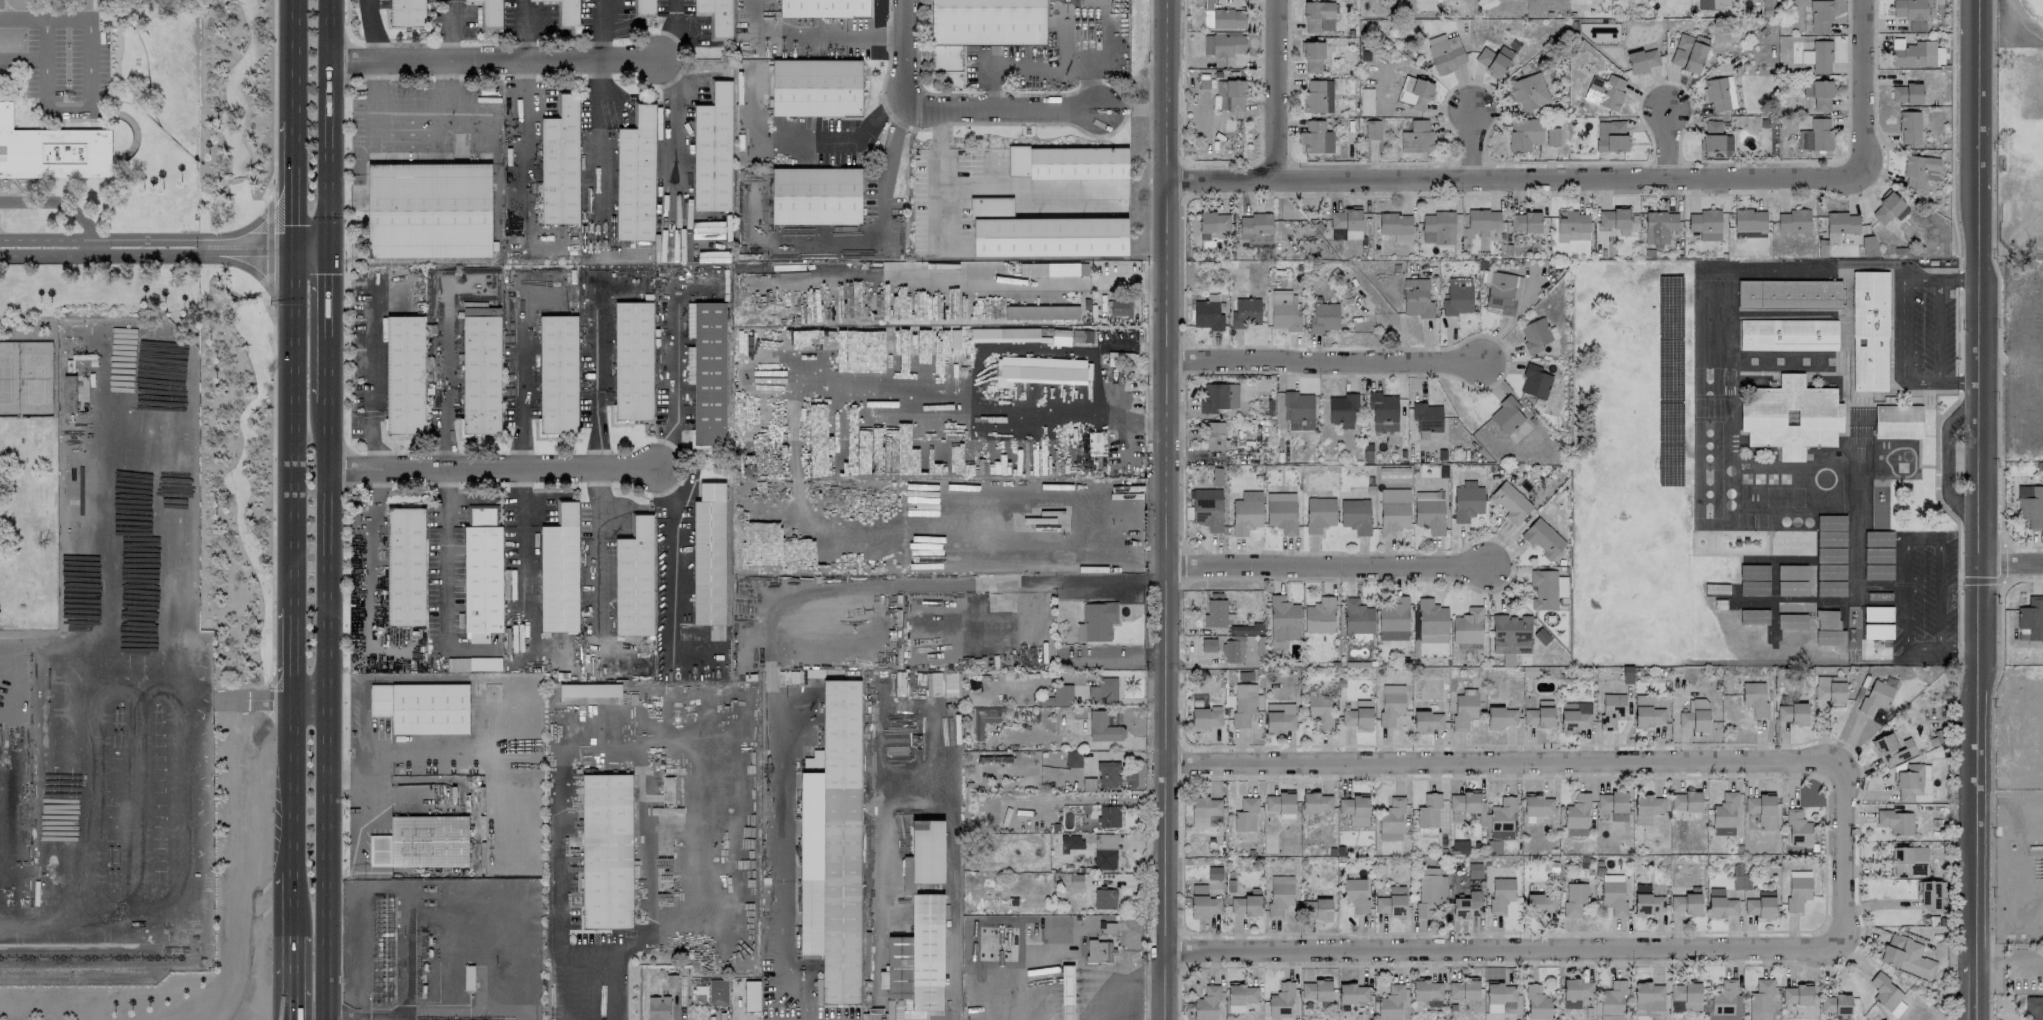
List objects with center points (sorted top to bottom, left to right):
building: (535, 0)
building: (1720, 3)
building: (1768, 3)
building: (1704, 4)
building: (643, 7)
building: (824, 8)
building: (1909, 9)
building: (407, 12)
building: (490, 12)
building: (566, 12)
building: (1820, 15)
building: (1318, 16)
building: (716, 17)
road: (44, 18)
building: (1224, 18)
building: (982, 26)
road: (455, 29)
road: (520, 29)
road: (600, 29)
road: (373, 30)
road: (846, 37)
road: (903, 38)
building: (1224, 44)
building: (1688, 52)
building: (1445, 53)
building: (1915, 53)
building: (1312, 56)
building: (1818, 56)
road: (493, 59)
building: (1493, 59)
building: (1642, 60)
parking lot: (66, 64)
road: (666, 80)
building: (817, 88)
road: (1863, 88)
road: (1277, 89)
building: (1605, 91)
building: (1417, 92)
building: (1529, 92)
building: (1719, 92)
building: (1906, 93)
building: (1230, 94)
building: (1318, 95)
building: (1821, 95)
road: (273, 97)
road: (991, 109)
road: (67, 111)
road: (417, 115)
road: (296, 122)
road: (327, 122)
building: (1910, 127)
building: (1372, 129)
road: (673, 130)
road: (812, 132)
building: (1524, 133)
building: (1611, 135)
building: (1815, 135)
road: (1951, 135)
building: (1552, 136)
building: (1316, 137)
building: (1417, 137)
building: (1715, 137)
road: (1472, 141)
road: (1669, 144)
park: (2018, 150)
building: (52, 151)
building: (713, 151)
building: (562, 162)
building: (1067, 162)
building: (1919, 170)
building: (636, 177)
road: (1515, 177)
road: (939, 178)
road: (1018, 185)
building: (816, 197)
road: (59, 202)
building: (1888, 208)
building: (429, 212)
building: (1613, 218)
building: (1483, 219)
building: (1749, 219)
building: (1793, 220)
building: (1524, 221)
building: (1347, 222)
building: (1212, 223)
building: (1395, 223)
building: (1705, 224)
building: (1572, 225)
building: (1840, 225)
road: (248, 226)
building: (1659, 226)
building: (1256, 227)
building: (1437, 227)
building: (1041, 232)
road: (147, 243)
road: (867, 244)
traffic signals: (295, 245)
road: (311, 245)
traffic signals: (327, 245)
building: (1869, 245)
road: (268, 246)
road: (148, 252)
road: (253, 272)
road: (1958, 279)
road: (1998, 290)
building: (1499, 291)
building: (1788, 293)
building: (1416, 298)
building: (1458, 299)
building: (1118, 307)
building: (1284, 311)
building: (1041, 312)
building: (1245, 312)
building: (1208, 315)
building: (1324, 317)
road: (327, 325)
road: (1901, 328)
road: (1939, 329)
road: (1958, 329)
building: (1869, 330)
parking lot: (1923, 330)
building: (1536, 334)
building: (1788, 334)
building: (1081, 336)
building: (1061, 337)
building: (941, 341)
road: (1448, 346)
building: (632, 360)
road: (1325, 360)
building: (689, 364)
building: (1041, 370)
building: (405, 374)
building: (708, 374)
building: (558, 375)
road: (445, 376)
building: (480, 376)
road: (598, 376)
road: (676, 376)
road: (369, 377)
road: (521, 377)
park: (25, 378)
road: (1101, 380)
road: (1959, 380)
building: (1535, 381)
road: (745, 383)
building: (1218, 396)
building: (1342, 409)
building: (1298, 410)
building: (1383, 411)
building: (1506, 415)
building: (1427, 416)
building: (1790, 416)
building: (1898, 421)
road: (293, 424)
building: (1214, 434)
building: (821, 443)
building: (764, 449)
road: (1947, 455)
road: (493, 466)
building: (918, 466)
park: (28, 472)
building: (1216, 476)
park: (1638, 476)
road: (273, 481)
road: (1936, 484)
building: (1467, 501)
building: (1510, 502)
building: (2031, 505)
building: (1037, 508)
building: (1207, 508)
road: (1170, 509)
road: (968, 510)
building: (1393, 510)
road: (1975, 510)
building: (1281, 511)
building: (1246, 512)
building: (1319, 513)
building: (1355, 515)
building: (1831, 530)
road: (1921, 536)
building: (773, 537)
building: (1543, 538)
road: (447, 554)
building: (708, 554)
building: (1831, 555)
building: (1878, 555)
road: (527, 562)
road: (1182, 563)
road: (2009, 563)
road: (1330, 565)
building: (405, 566)
building: (482, 569)
building: (560, 569)
building: (1753, 571)
building: (1831, 571)
building: (1791, 572)
road: (370, 574)
building: (633, 578)
road: (672, 579)
road: (1998, 579)
building: (513, 582)
road: (961, 582)
building: (1547, 588)
building: (1753, 588)
building: (1791, 588)
building: (1830, 588)
road: (1938, 592)
road: (1906, 593)
road: (2001, 602)
building: (1217, 613)
building: (1877, 613)
building: (1319, 615)
building: (1753, 616)
building: (1284, 619)
building: (1357, 619)
building: (1393, 619)
building: (2030, 619)
road: (1957, 620)
building: (1096, 621)
building: (1431, 621)
building: (1791, 621)
road: (836, 624)
building: (1467, 626)
road: (104, 628)
building: (1828, 628)
building: (1245, 629)
building: (1877, 631)
building: (1510, 633)
building: (477, 637)
building: (1208, 644)
road: (1956, 648)
road: (52, 649)
road: (1923, 649)
building: (1233, 651)
road: (292, 652)
building: (473, 663)
building: (943, 684)
building: (1829, 688)
building: (590, 690)
building: (1103, 691)
road: (271, 696)
building: (1755, 697)
building: (1875, 697)
building: (1391, 703)
building: (1244, 704)
building: (421, 707)
building: (1464, 708)
building: (1611, 709)
building: (1320, 710)
road: (327, 712)
building: (1646, 712)
building: (1791, 713)
building: (1695, 715)
building: (1538, 716)
building: (1574, 716)
building: (1112, 717)
building: (1205, 717)
building: (1280, 717)
building: (1357, 717)
building: (1501, 717)
building: (983, 720)
building: (1428, 720)
road: (513, 722)
building: (1103, 728)
road: (633, 738)
building: (1892, 748)
road: (434, 753)
building: (1073, 759)
road: (1489, 759)
road: (361, 773)
building: (1108, 774)
building: (1913, 783)
building: (1088, 784)
road: (292, 788)
building: (1685, 801)
building: (1280, 802)
building: (1317, 802)
building: (1463, 804)
building: (1613, 804)
building: (1538, 805)
building: (1355, 806)
building: (1647, 808)
building: (1204, 810)
building: (1762, 810)
building: (1577, 812)
building: (1724, 814)
building: (1245, 815)
building: (1428, 815)
building: (1109, 816)
building: (1391, 819)
building: (1502, 819)
building: (1896, 821)
road: (716, 825)
road: (779, 826)
building: (1798, 828)
road: (1952, 840)
building: (422, 842)
building: (1071, 842)
building: (831, 846)
building: (1459, 846)
building: (1493, 846)
road: (558, 850)
building: (927, 851)
building: (1104, 851)
building: (607, 852)
road: (1843, 852)
building: (1909, 861)
road: (101, 864)
building: (1474, 870)
building: (1214, 872)
building: (1075, 880)
road: (951, 885)
building: (1798, 889)
building: (1429, 890)
building: (1501, 893)
building: (1613, 893)
building: (1279, 894)
building: (1356, 894)
building: (1929, 895)
building: (1104, 898)
building: (1574, 898)
building: (1646, 900)
building: (1392, 902)
road: (292, 903)
building: (1686, 903)
building: (1541, 904)
building: (1721, 904)
building: (1206, 905)
building: (1245, 905)
building: (1468, 905)
building: (1760, 905)
road: (641, 945)
road: (1487, 947)
railway: (98, 950)
building: (926, 951)
building: (1099, 951)
building: (1906, 955)
railway: (100, 958)
road: (2022, 959)
road: (1988, 960)
road: (291, 976)
road: (613, 986)
road: (1127, 989)
building: (1427, 989)
building: (1463, 989)
building: (1315, 990)
building: (818, 991)
building: (717, 992)
building: (1067, 992)
building: (1501, 992)
building: (1576, 992)
building: (1353, 993)
building: (1646, 994)
building: (1797, 994)
building: (1886, 994)
building: (751, 995)
building: (1240, 996)
building: (1685, 996)
building: (1281, 1000)
building: (1760, 1000)
building: (1612, 1001)
building: (1725, 1001)
building: (1390, 1003)
building: (1537, 1003)
building: (1206, 1004)
building: (1835, 1004)
building: (658, 1007)
building: (2034, 1007)

